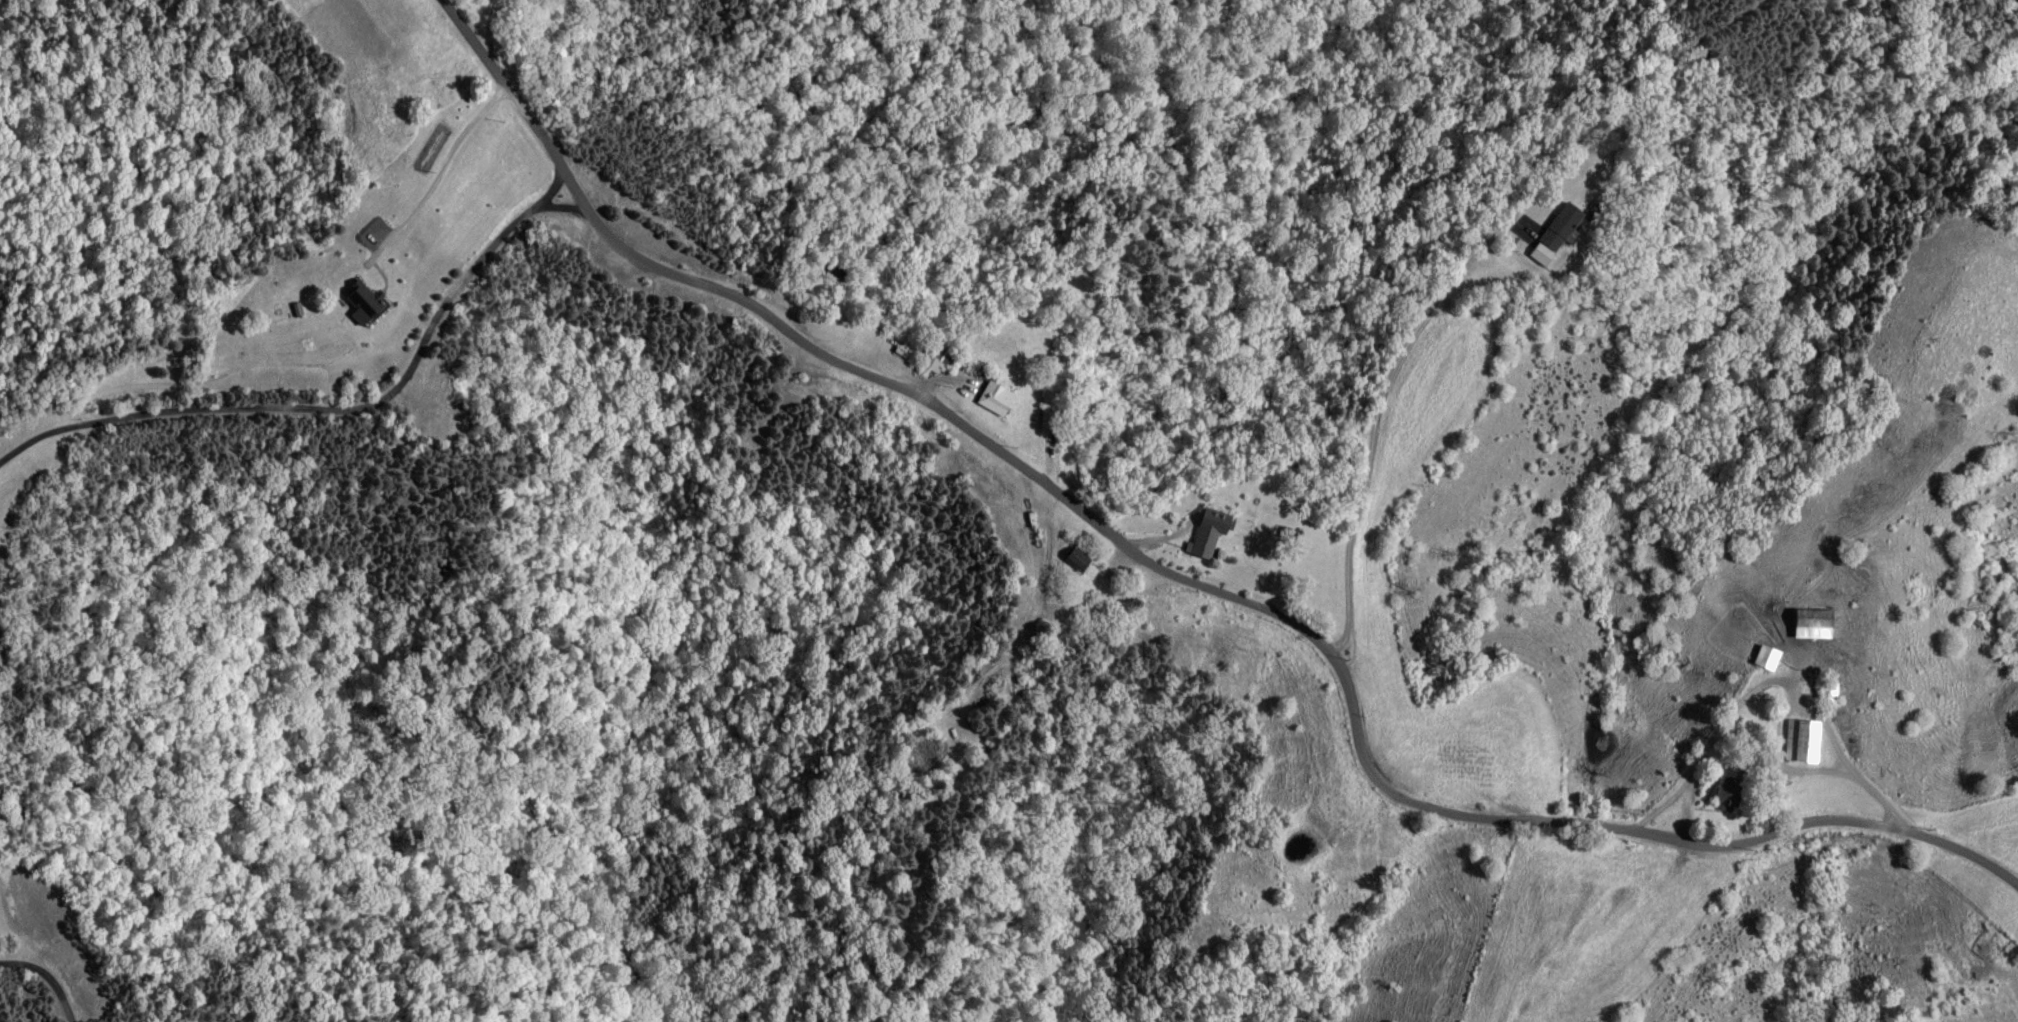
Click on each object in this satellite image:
road: (568, 224)
building: (1549, 234)
building: (365, 303)
building: (928, 367)
road: (330, 411)
road: (1378, 458)
building: (1201, 533)
building: (1068, 558)
road: (1044, 603)
road: (1170, 605)
building: (1804, 624)
building: (1797, 741)
road: (1832, 757)
building: (1717, 792)
road: (1890, 822)
road: (48, 976)

